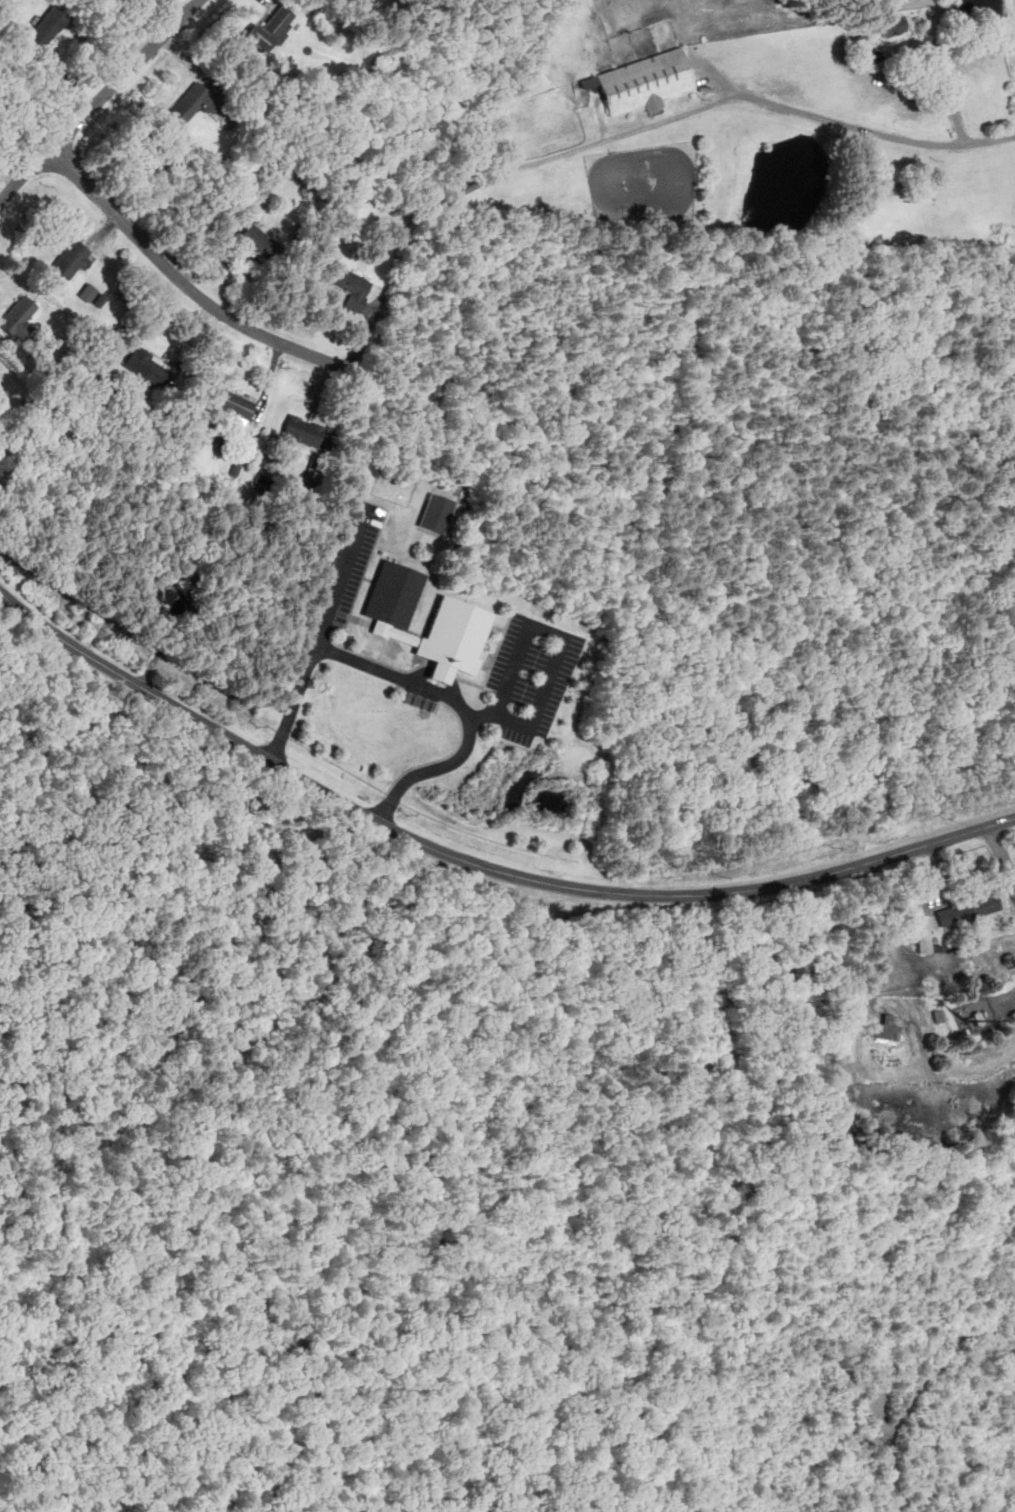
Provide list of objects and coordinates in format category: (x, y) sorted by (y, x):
building: (271, 28)
building: (894, 29)
building: (45, 30)
building: (643, 82)
road: (948, 92)
road: (99, 100)
road: (763, 100)
building: (190, 102)
building: (449, 173)
building: (257, 242)
building: (71, 260)
road: (184, 283)
building: (350, 284)
building: (18, 318)
building: (147, 369)
building: (233, 404)
building: (302, 433)
building: (436, 512)
building: (460, 624)
road: (547, 629)
road: (318, 635)
road: (462, 706)
road: (1001, 858)
road: (477, 863)
building: (968, 910)
building: (925, 940)
road: (1007, 1005)
building: (885, 1033)

